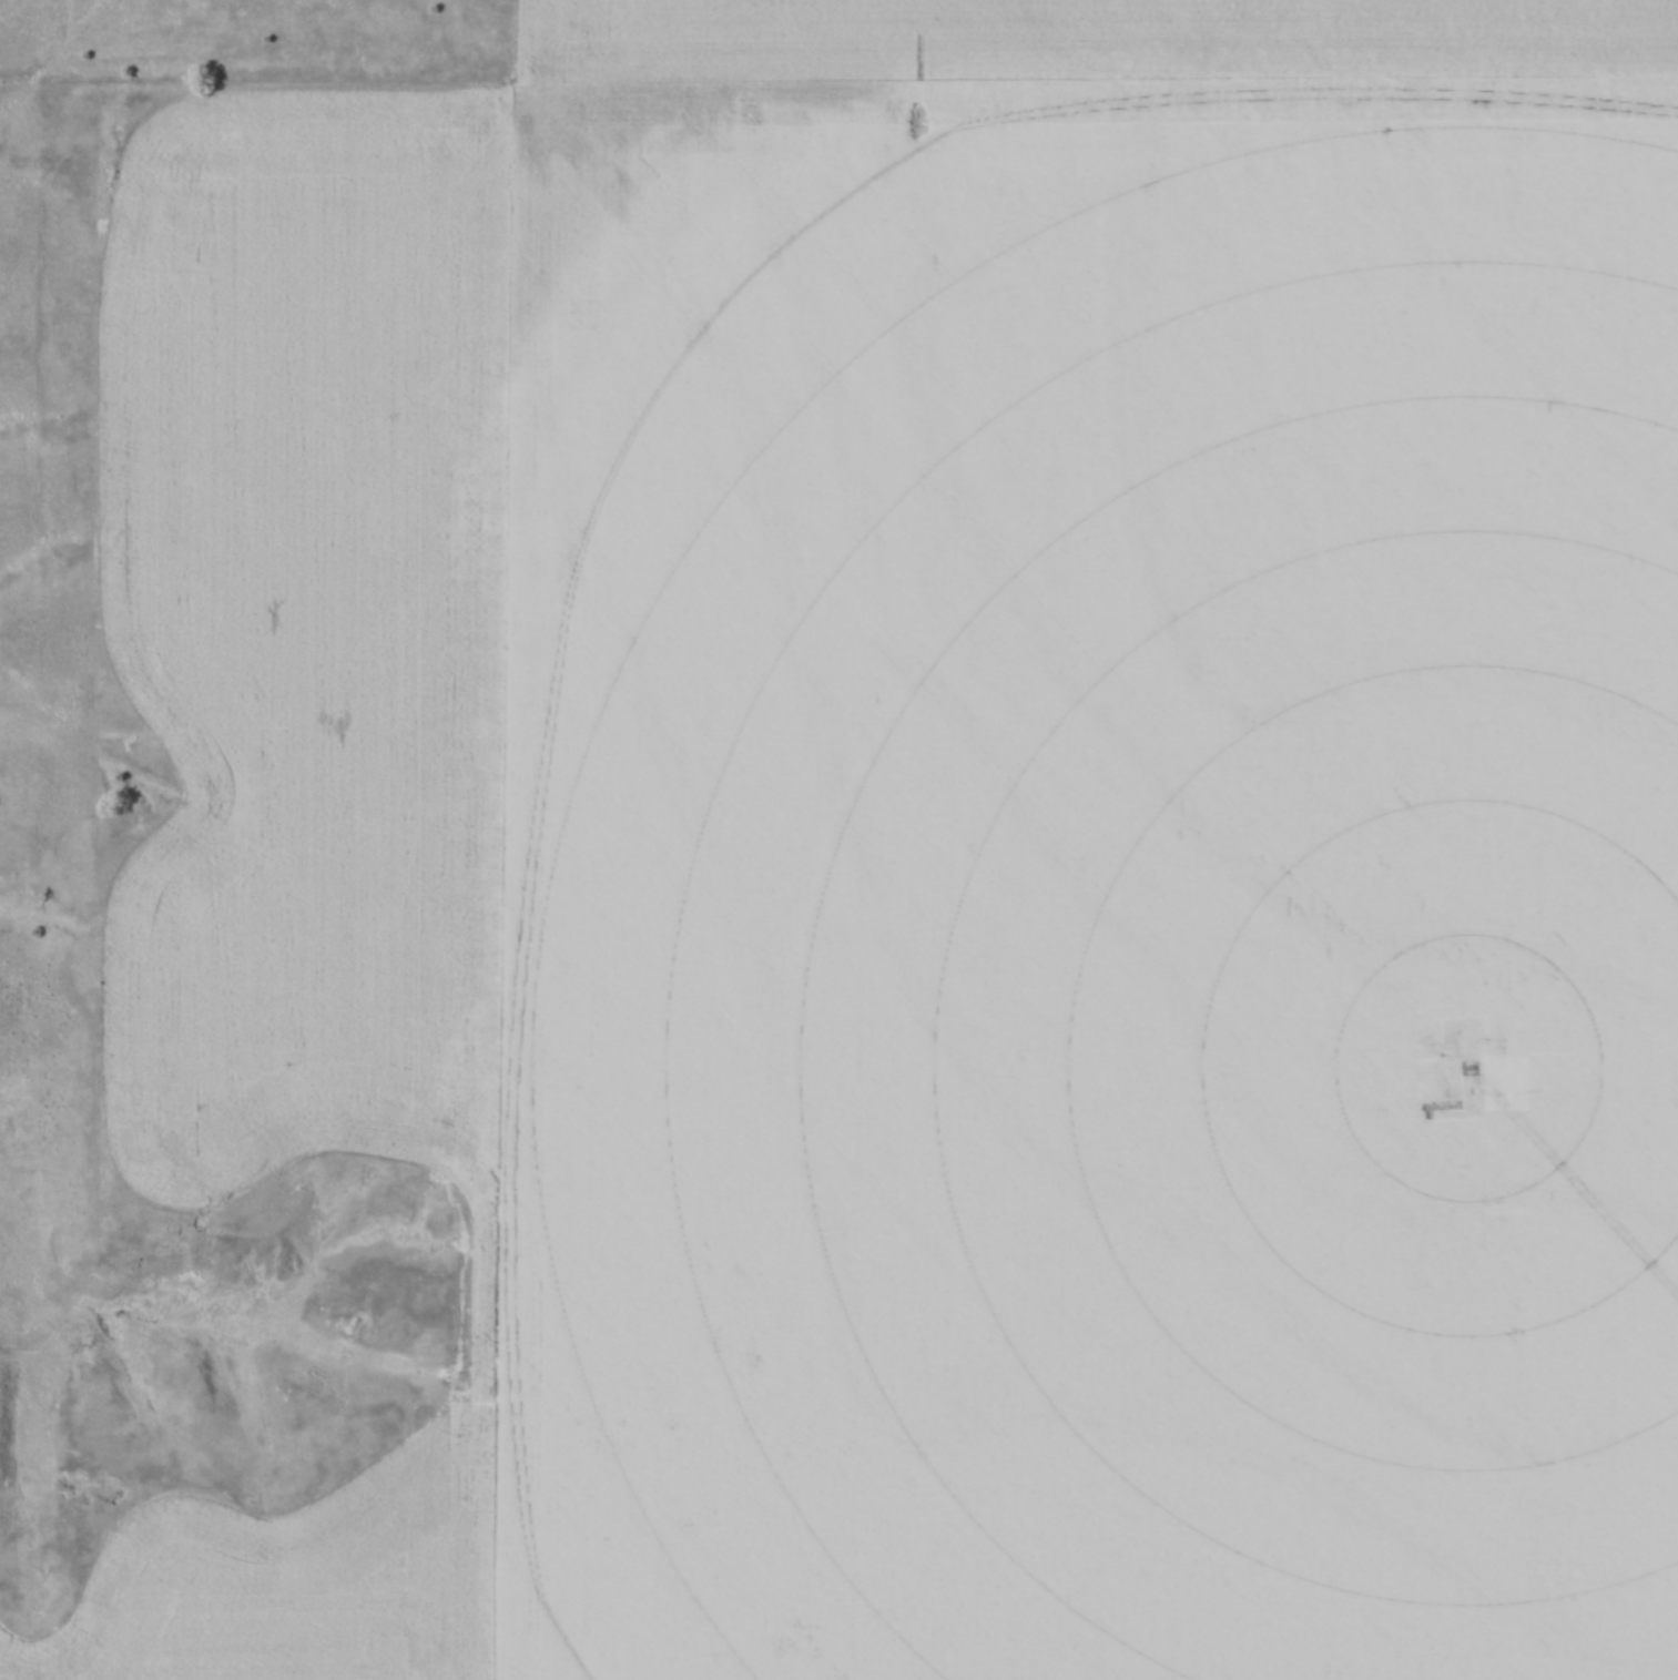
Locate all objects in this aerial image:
crop: (1095, 37)
crop: (317, 628)
crop: (307, 1582)

